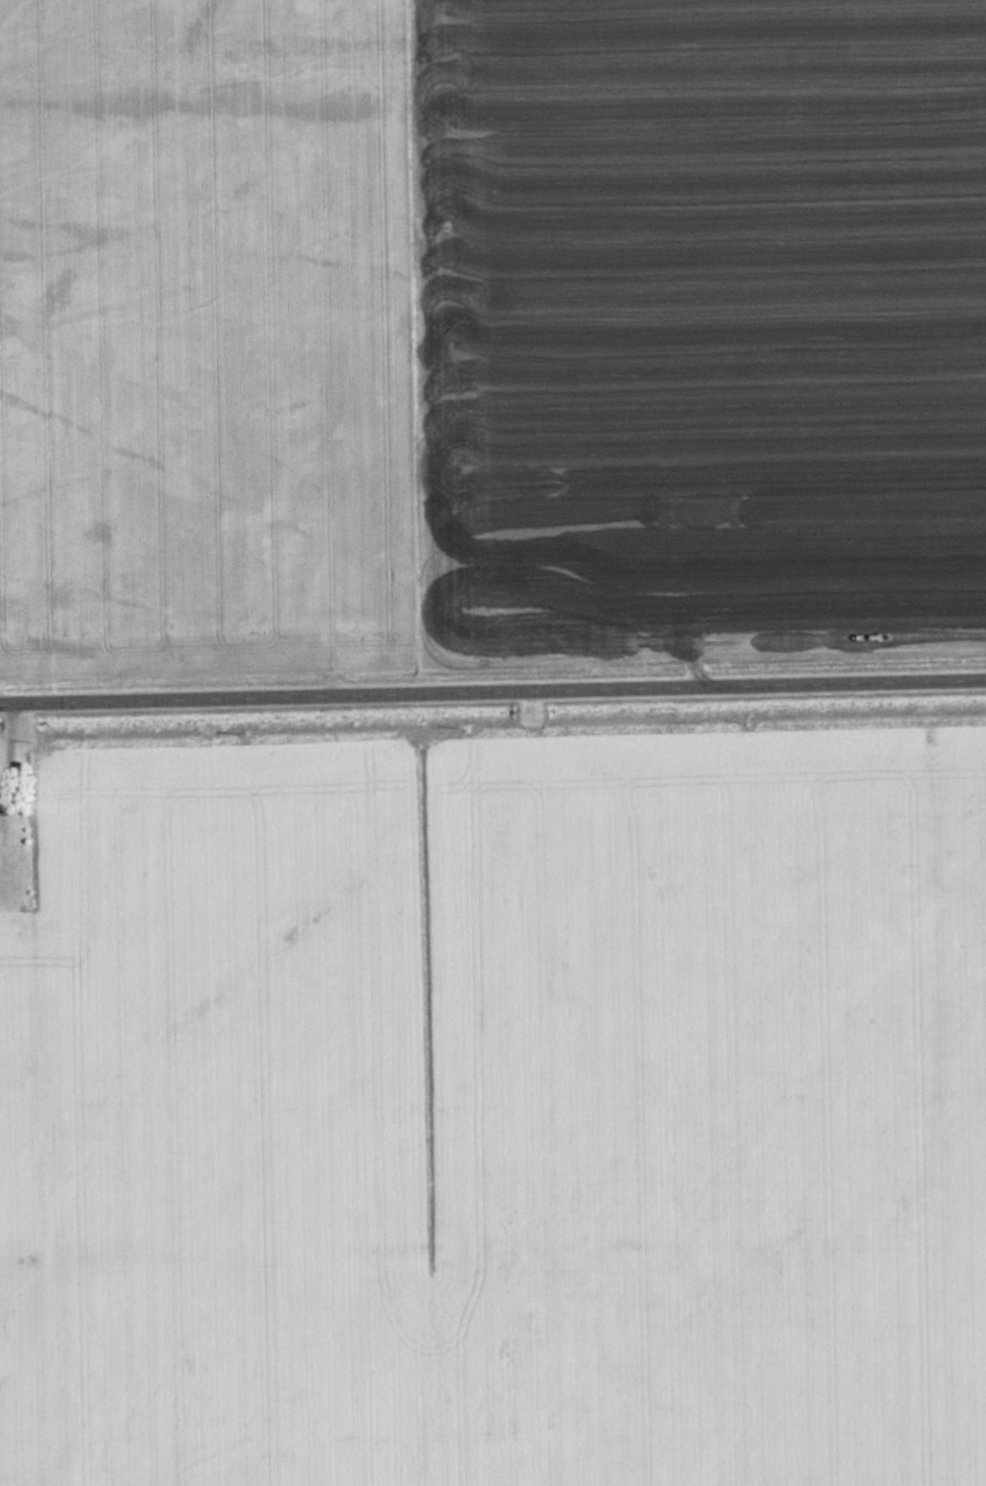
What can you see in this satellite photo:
road: (493, 684)

